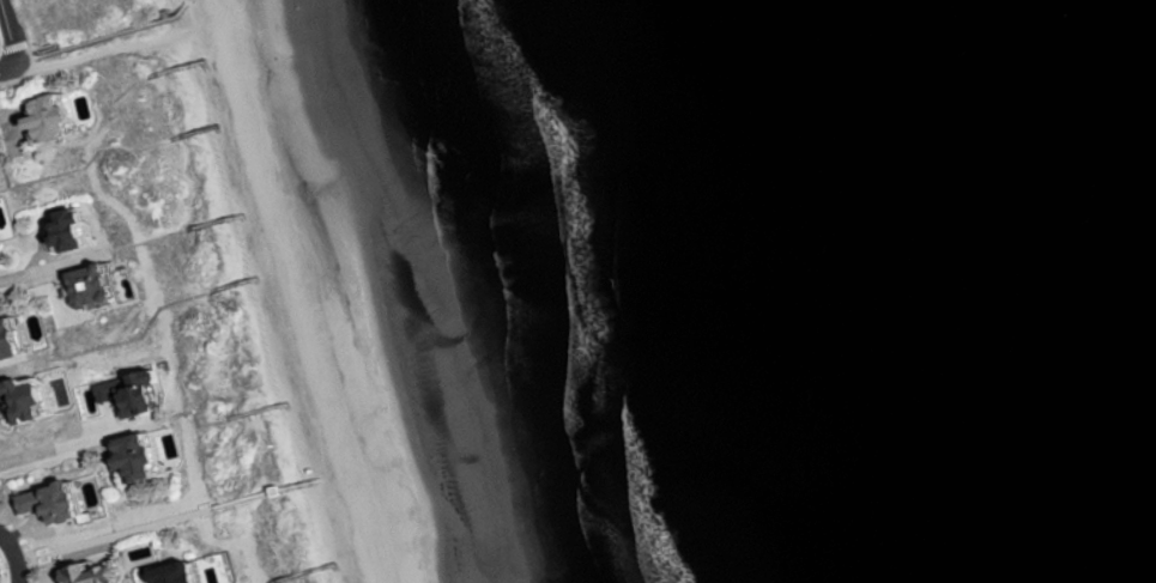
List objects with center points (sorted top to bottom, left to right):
road: (12, 31)
road: (89, 56)
road: (5, 67)
building: (61, 119)
building: (0, 181)
building: (6, 226)
building: (81, 230)
road: (17, 272)
building: (103, 287)
road: (38, 312)
road: (151, 324)
building: (17, 340)
road: (16, 342)
road: (16, 353)
road: (25, 366)
building: (143, 394)
building: (36, 397)
building: (147, 458)
building: (61, 503)
road: (168, 522)
road: (8, 548)
road: (18, 572)
building: (189, 573)
building: (102, 575)

